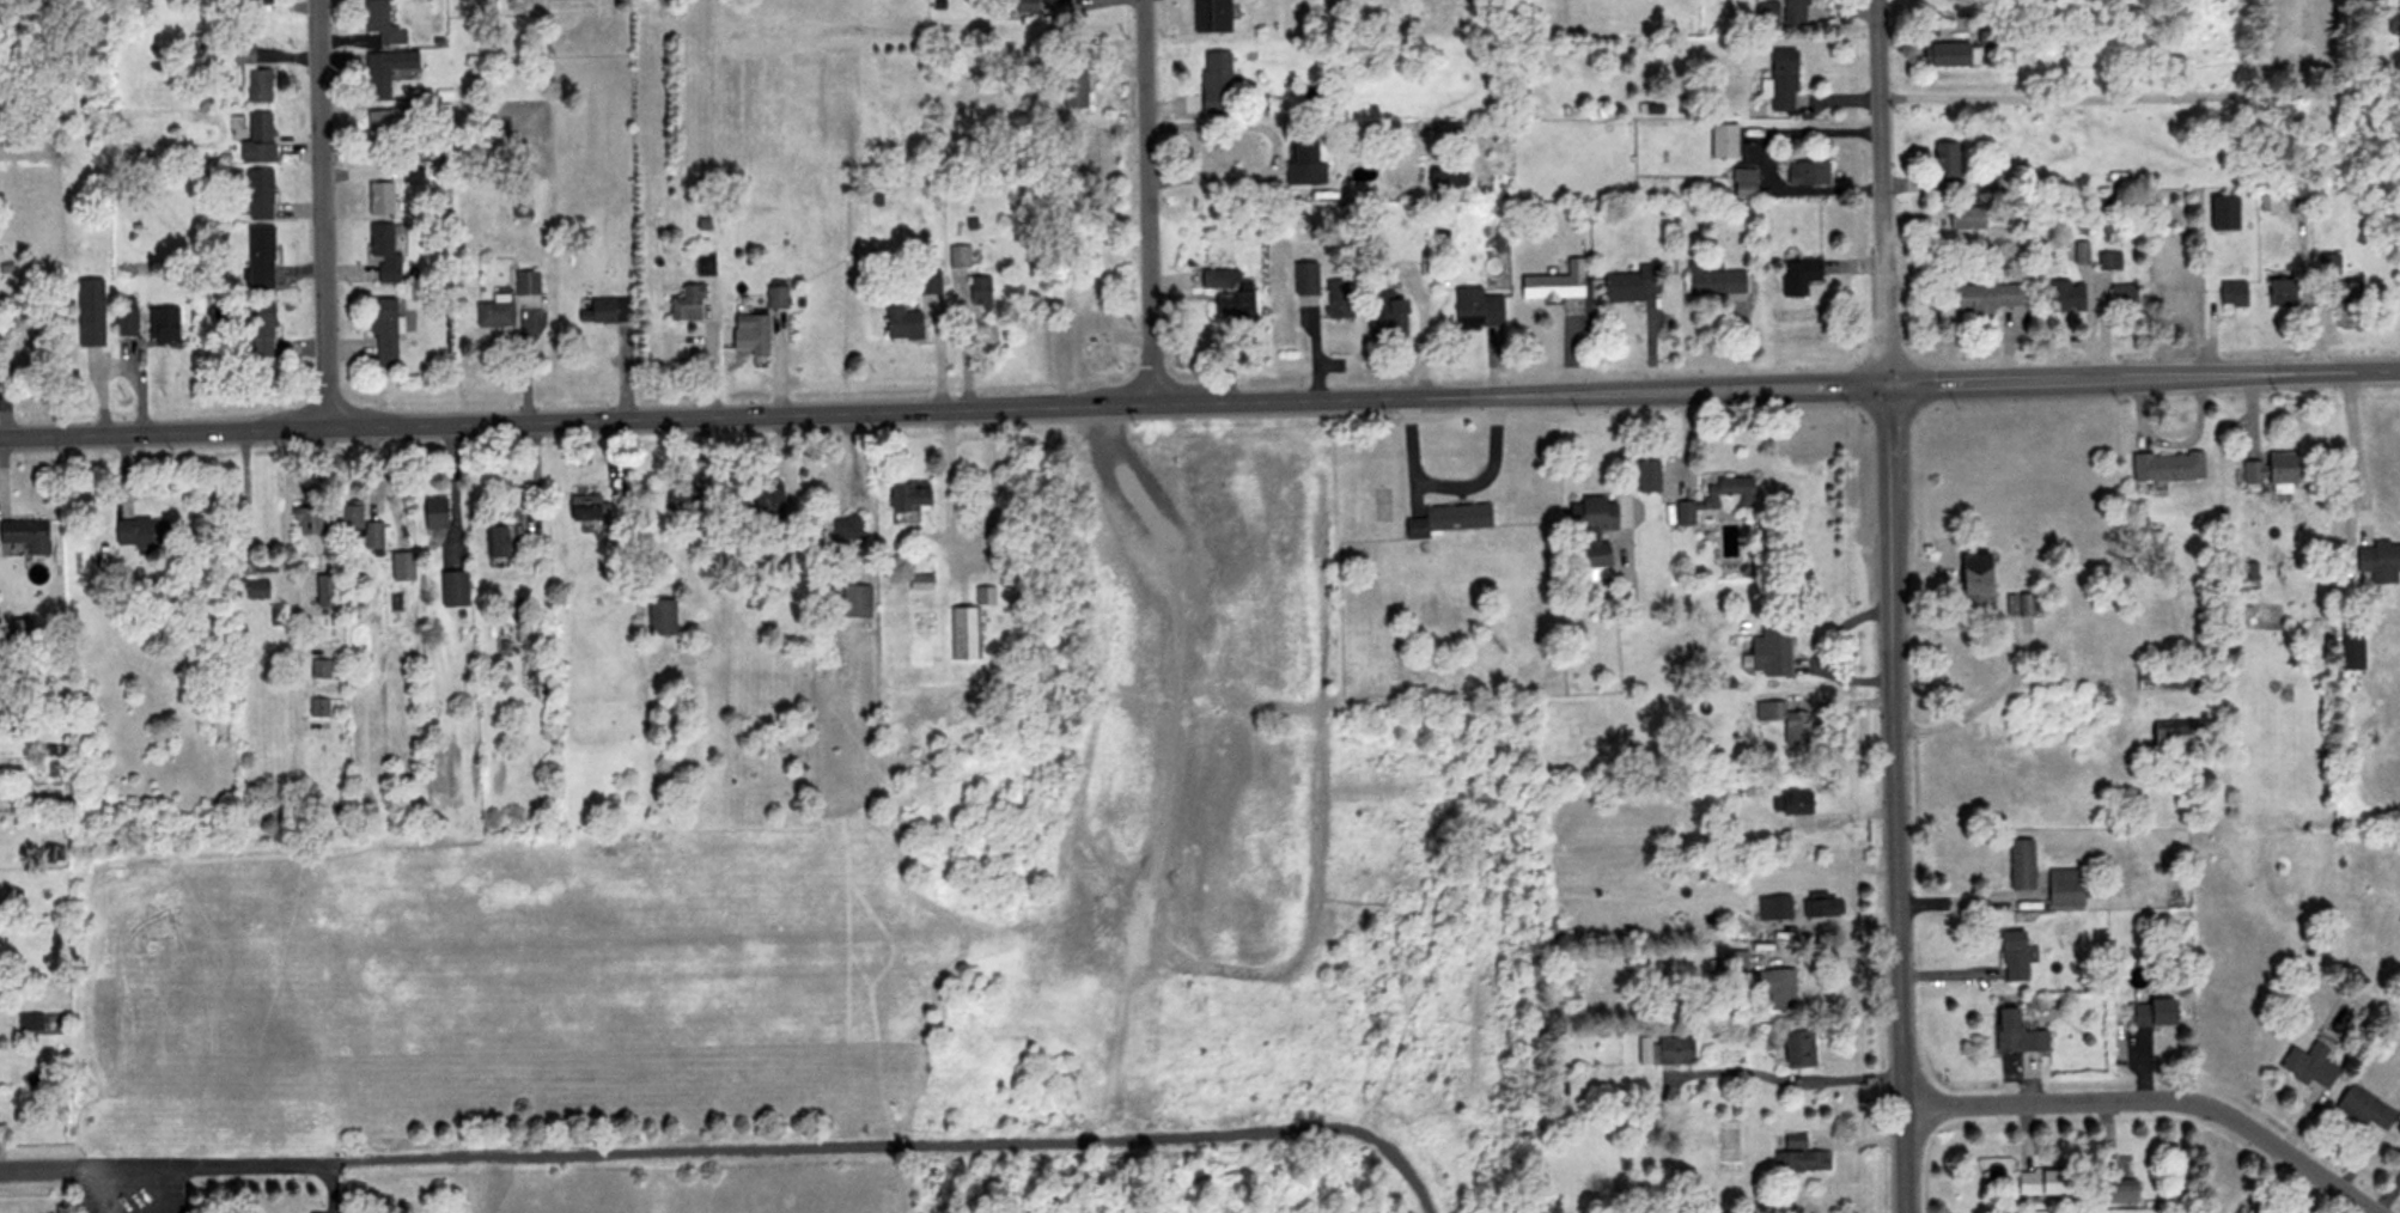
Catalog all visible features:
building: (1024, 6)
building: (1765, 12)
building: (1795, 12)
building: (1211, 17)
building: (2393, 20)
building: (380, 23)
building: (1985, 37)
building: (1947, 56)
building: (384, 72)
building: (251, 77)
building: (1780, 81)
building: (1214, 83)
building: (1073, 91)
road: (2144, 97)
building: (384, 130)
building: (256, 140)
building: (1722, 142)
road: (1272, 151)
building: (1302, 161)
building: (1945, 167)
building: (1807, 176)
building: (1742, 184)
building: (257, 195)
building: (378, 199)
road: (1152, 200)
building: (2296, 203)
building: (520, 208)
road: (324, 213)
building: (2222, 214)
building: (1965, 219)
building: (383, 252)
building: (258, 258)
building: (958, 258)
building: (2107, 262)
building: (703, 264)
building: (2327, 266)
building: (1797, 275)
building: (1303, 280)
building: (1712, 282)
building: (525, 284)
building: (928, 284)
building: (1554, 285)
building: (1632, 285)
building: (2176, 289)
building: (1224, 292)
building: (975, 293)
building: (1335, 293)
building: (2280, 293)
building: (2340, 293)
building: (2231, 294)
building: (2065, 295)
building: (2121, 297)
building: (775, 298)
building: (1984, 299)
building: (686, 304)
building: (1476, 309)
building: (603, 311)
building: (89, 313)
building: (493, 313)
building: (1384, 316)
building: (124, 317)
building: (160, 324)
building: (901, 324)
building: (261, 330)
building: (383, 333)
building: (753, 333)
road: (1199, 400)
road: (2350, 447)
road: (1618, 457)
building: (2167, 465)
building: (2271, 470)
building: (1646, 476)
road: (1446, 484)
road: (244, 490)
building: (907, 495)
building: (687, 498)
building: (1717, 498)
building: (761, 501)
building: (433, 512)
building: (586, 512)
building: (303, 514)
building: (1449, 518)
building: (1592, 525)
building: (359, 526)
building: (845, 528)
building: (140, 532)
building: (25, 534)
building: (494, 540)
road: (964, 540)
building: (2378, 561)
building: (400, 566)
building: (775, 567)
road: (284, 572)
building: (1974, 573)
building: (918, 581)
building: (319, 583)
building: (452, 587)
building: (254, 590)
building: (983, 595)
building: (854, 601)
building: (2024, 605)
road: (1884, 606)
building: (659, 617)
building: (19, 629)
building: (964, 633)
building: (2350, 646)
building: (1771, 648)
road: (2014, 659)
building: (313, 662)
building: (312, 702)
building: (319, 708)
building: (1784, 721)
building: (48, 749)
building: (65, 803)
building: (1790, 803)
building: (50, 852)
building: (2020, 864)
building: (2063, 886)
road: (1961, 895)
building: (1773, 907)
building: (1821, 908)
building: (1546, 928)
building: (2011, 955)
building: (1732, 959)
building: (1773, 987)
building: (2151, 1012)
building: (26, 1014)
building: (30, 1023)
building: (2015, 1032)
building: (1671, 1050)
building: (1797, 1050)
building: (2308, 1066)
road: (1779, 1079)
road: (2160, 1096)
building: (2364, 1109)
road: (900, 1147)
building: (1798, 1156)
road: (190, 1163)
parking lot: (178, 1180)
building: (2045, 1183)
road: (152, 1188)
road: (98, 1189)
building: (2119, 1193)

